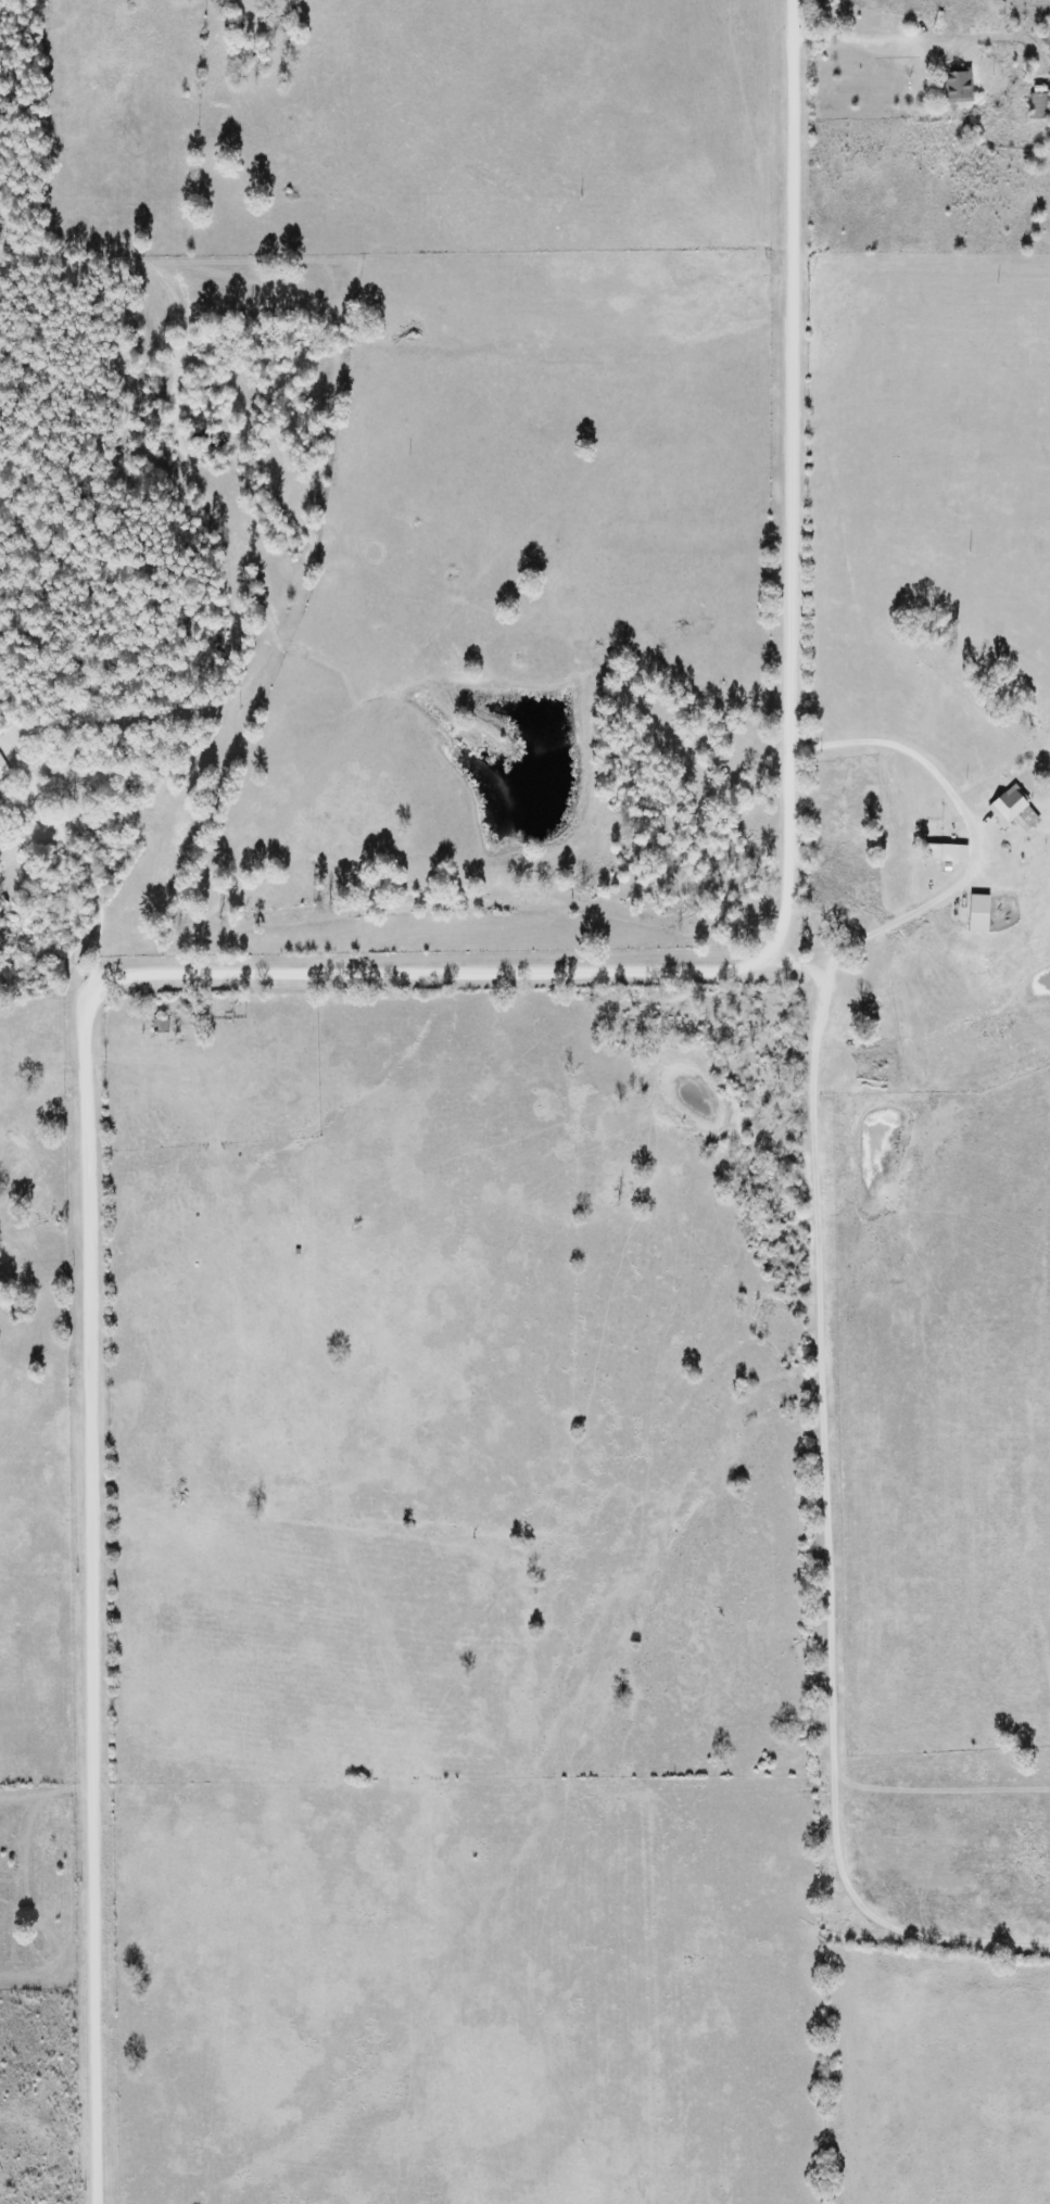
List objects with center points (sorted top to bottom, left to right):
building: (958, 87)
building: (1039, 103)
building: (3, 769)
building: (1010, 807)
building: (940, 854)
road: (240, 904)
building: (160, 1030)

